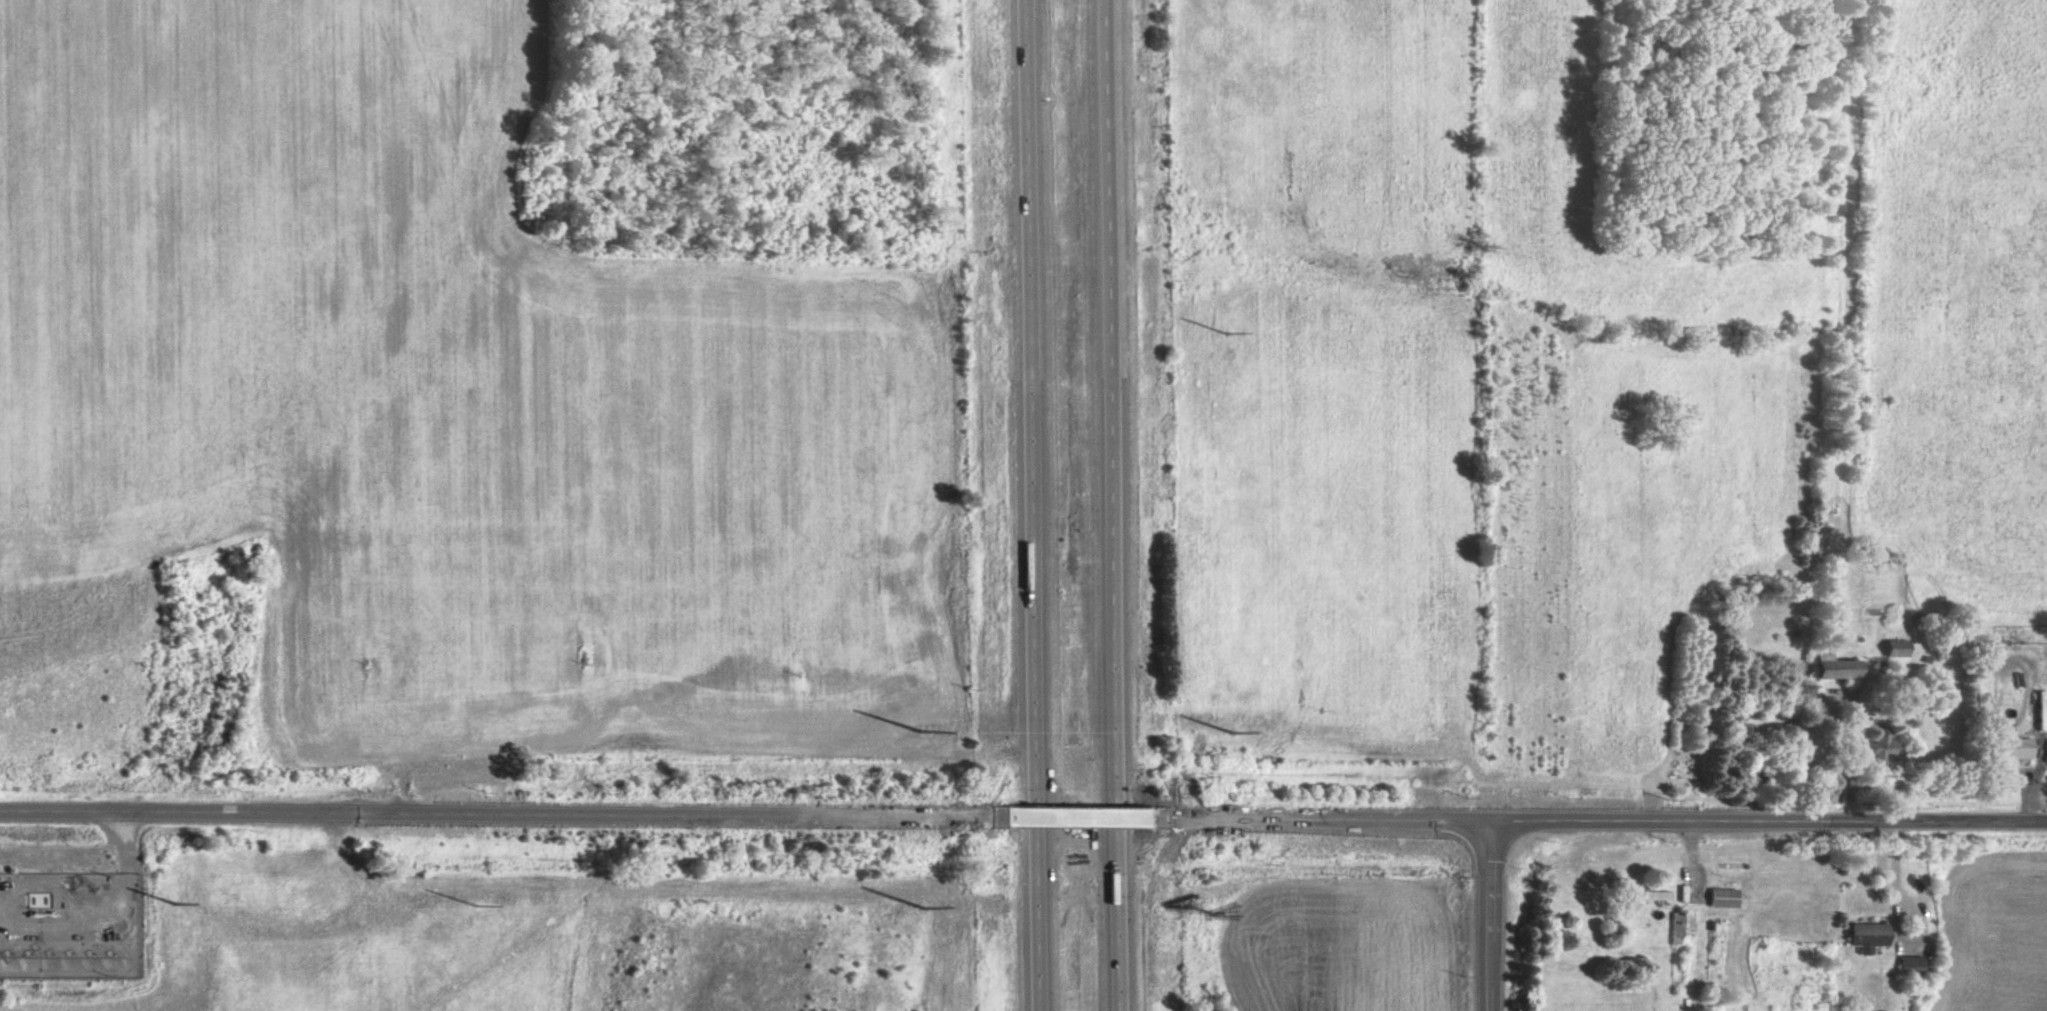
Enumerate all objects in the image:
power tower: (1221, 329)
road: (1030, 505)
road: (1110, 505)
building: (1893, 647)
building: (1828, 667)
power tower: (917, 731)
power tower: (1228, 731)
building: (1878, 745)
building: (2012, 748)
road: (499, 815)
road: (1077, 819)
road: (1601, 820)
road: (127, 843)
building: (1650, 895)
building: (1720, 897)
power tower: (177, 903)
building: (1711, 903)
power tower: (478, 904)
power tower: (918, 909)
road: (1487, 915)
power substation: (71, 926)
building: (1679, 926)
building: (1864, 936)
building: (1908, 965)

